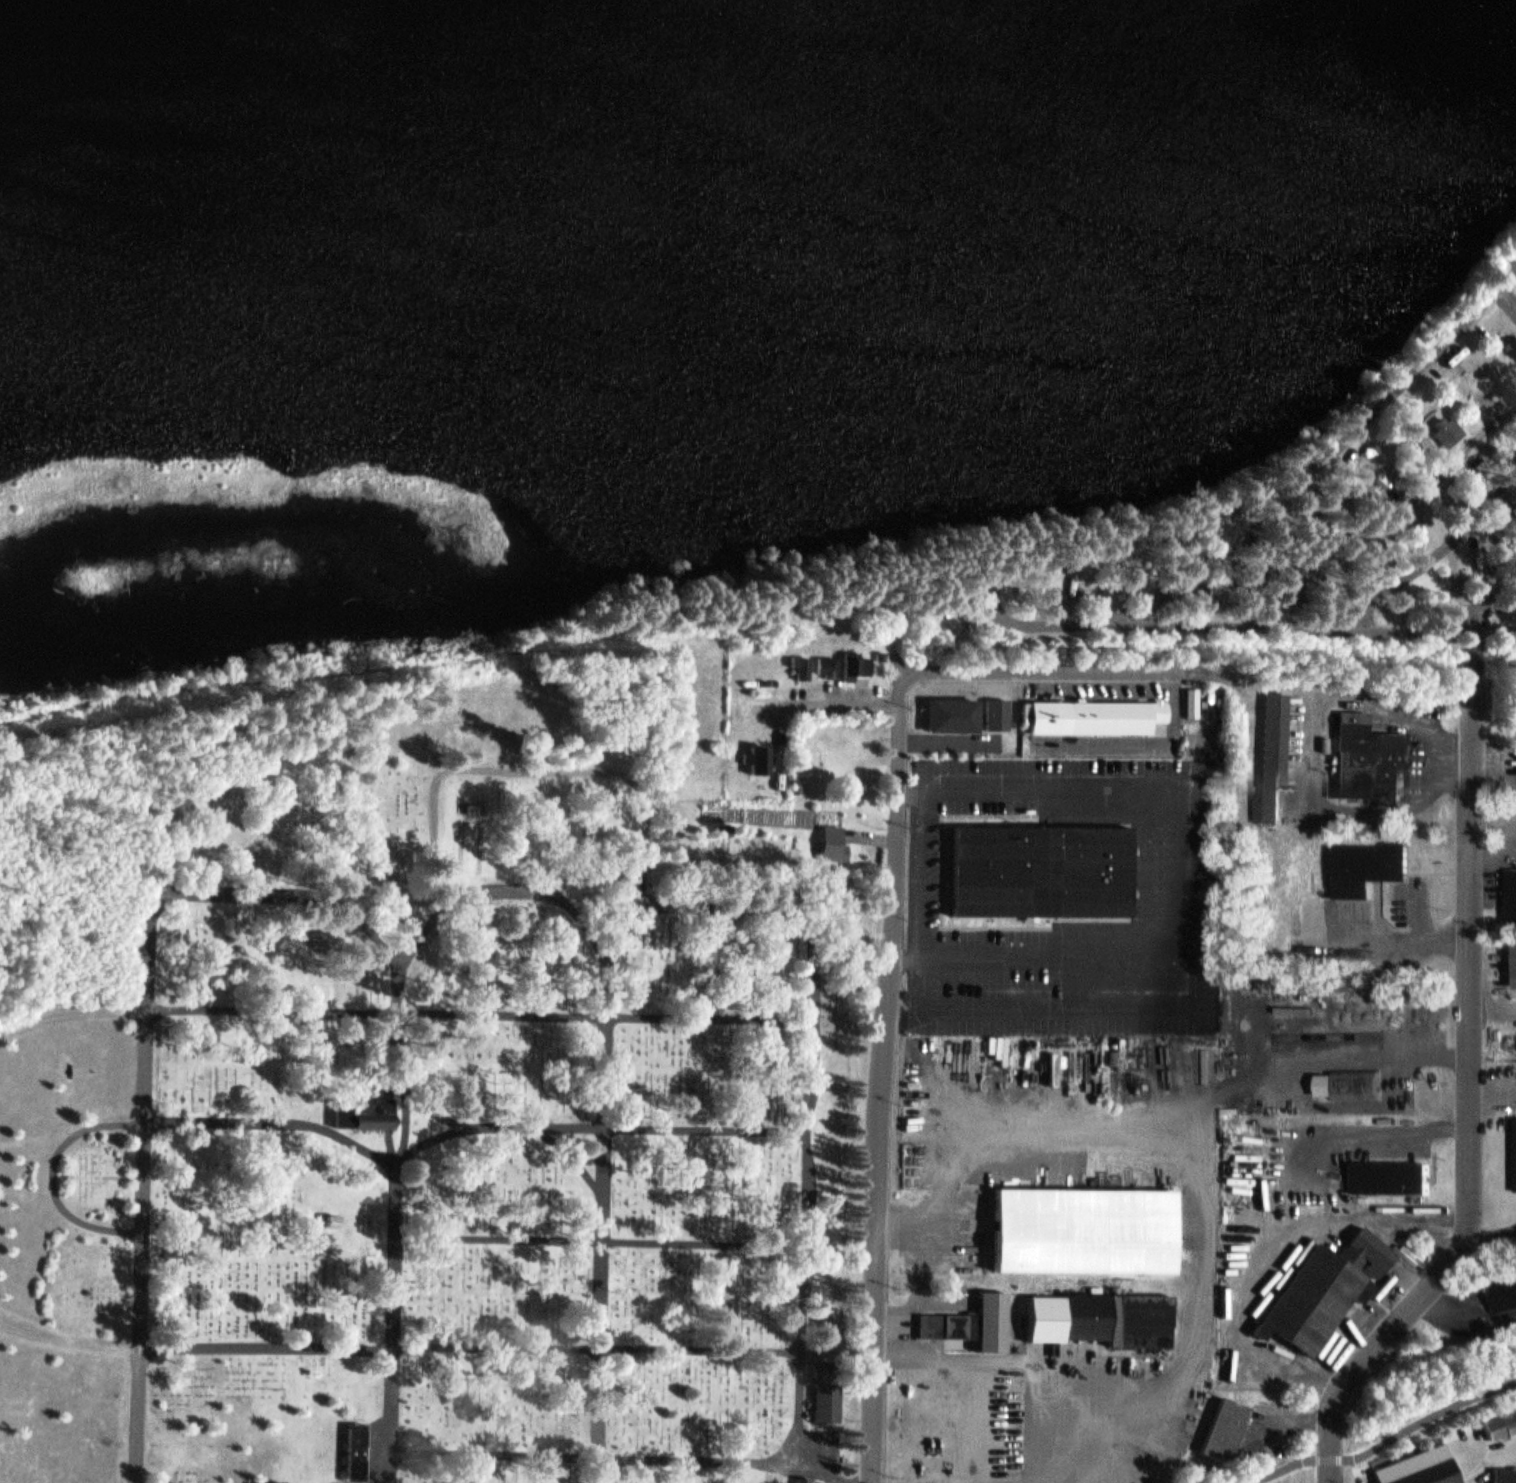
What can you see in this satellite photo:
building: (1444, 425)
road: (1353, 511)
park: (1292, 518)
road: (1426, 561)
road: (1018, 564)
road: (1169, 571)
road: (1481, 602)
building: (878, 652)
building: (852, 661)
building: (824, 663)
building: (798, 664)
road: (1072, 670)
road: (1358, 674)
building: (996, 711)
building: (950, 712)
building: (1094, 713)
building: (756, 753)
building: (1273, 754)
building: (1371, 756)
road: (522, 769)
building: (794, 783)
building: (469, 808)
road: (872, 837)
building: (828, 839)
building: (1373, 859)
building: (1038, 867)
building: (1514, 890)
road: (600, 901)
road: (756, 917)
road: (624, 934)
road: (198, 1010)
road: (482, 1016)
road: (606, 1071)
building: (1349, 1080)
road: (890, 1083)
road: (409, 1086)
road: (1473, 1104)
building: (368, 1106)
park: (417, 1108)
road: (593, 1129)
road: (408, 1133)
road: (575, 1156)
building: (1394, 1174)
road: (60, 1175)
road: (397, 1196)
building: (328, 1215)
building: (333, 1220)
building: (1085, 1227)
road: (600, 1239)
building: (1326, 1285)
building: (1506, 1296)
building: (1097, 1312)
building: (993, 1317)
building: (949, 1321)
road: (398, 1345)
building: (825, 1393)
building: (1499, 1419)
building: (1226, 1427)
road: (1385, 1444)
building: (360, 1445)
road: (498, 1454)
road: (1481, 1454)
building: (1420, 1465)
road: (829, 1468)
building: (1505, 1472)
building: (801, 1477)

